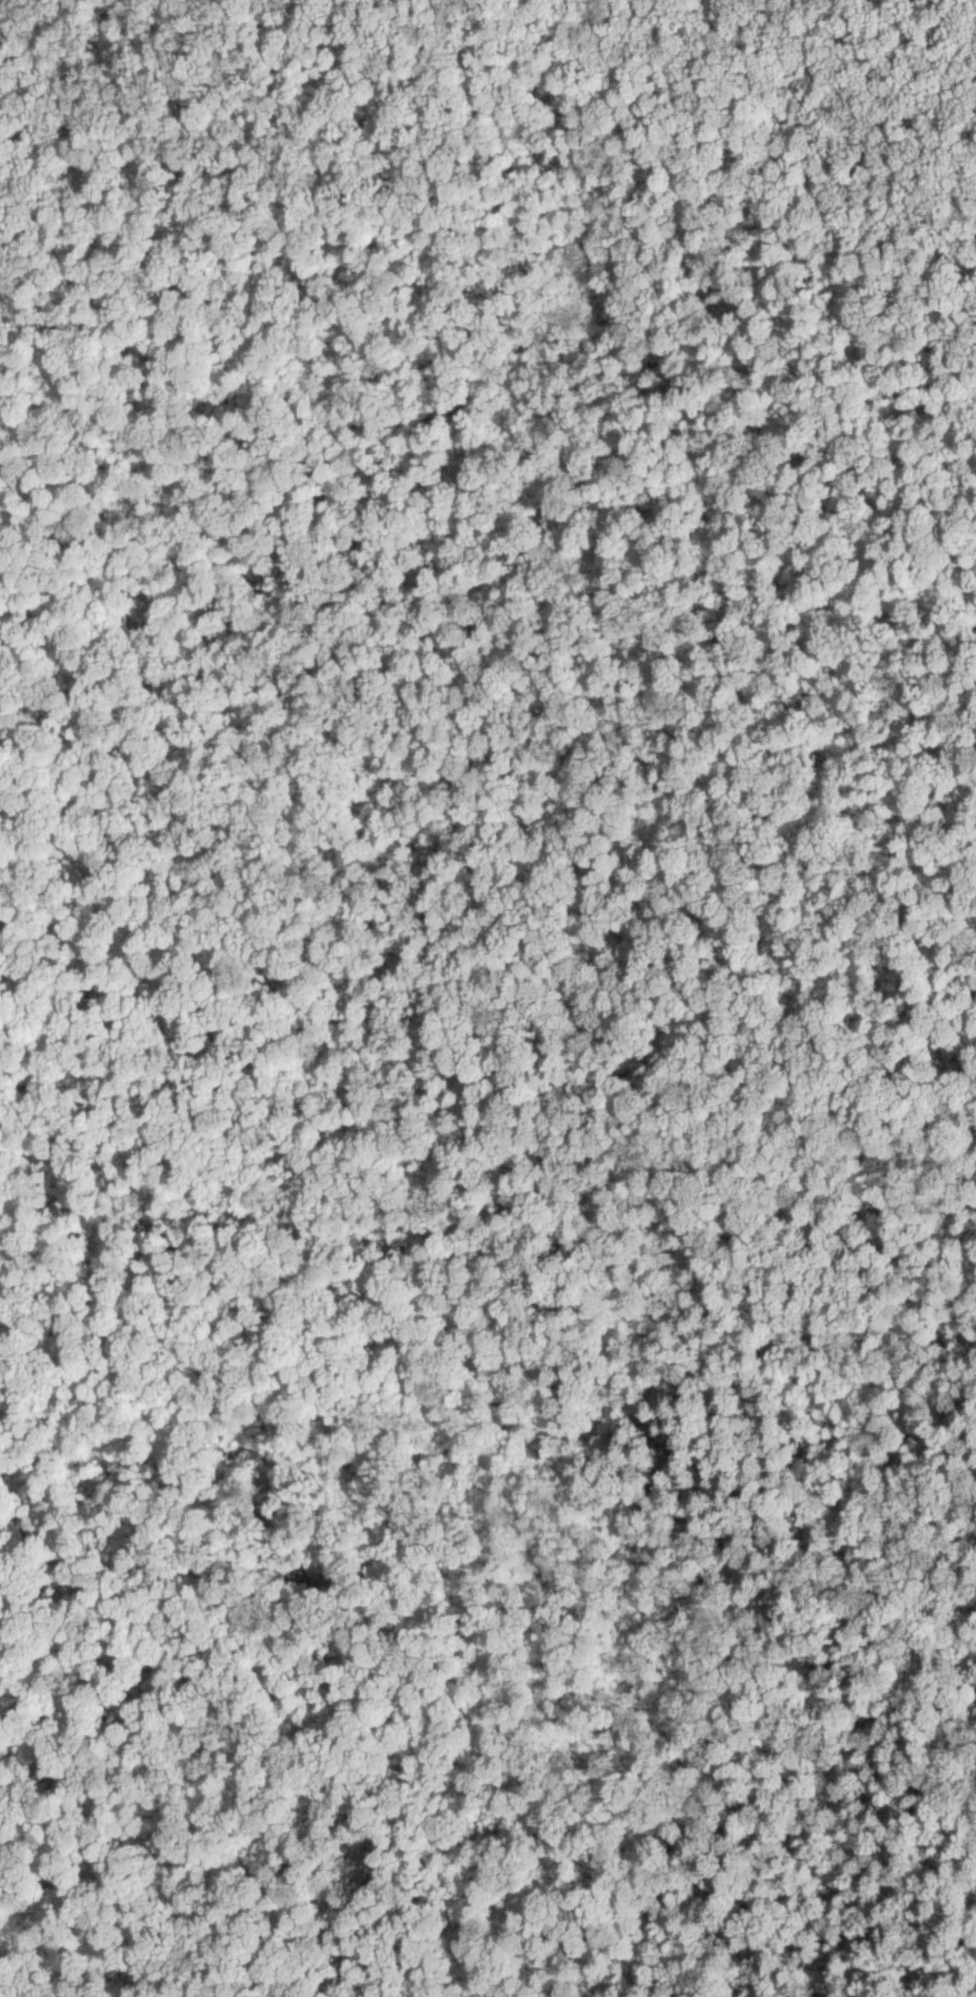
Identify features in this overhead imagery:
road: (495, 1302)

